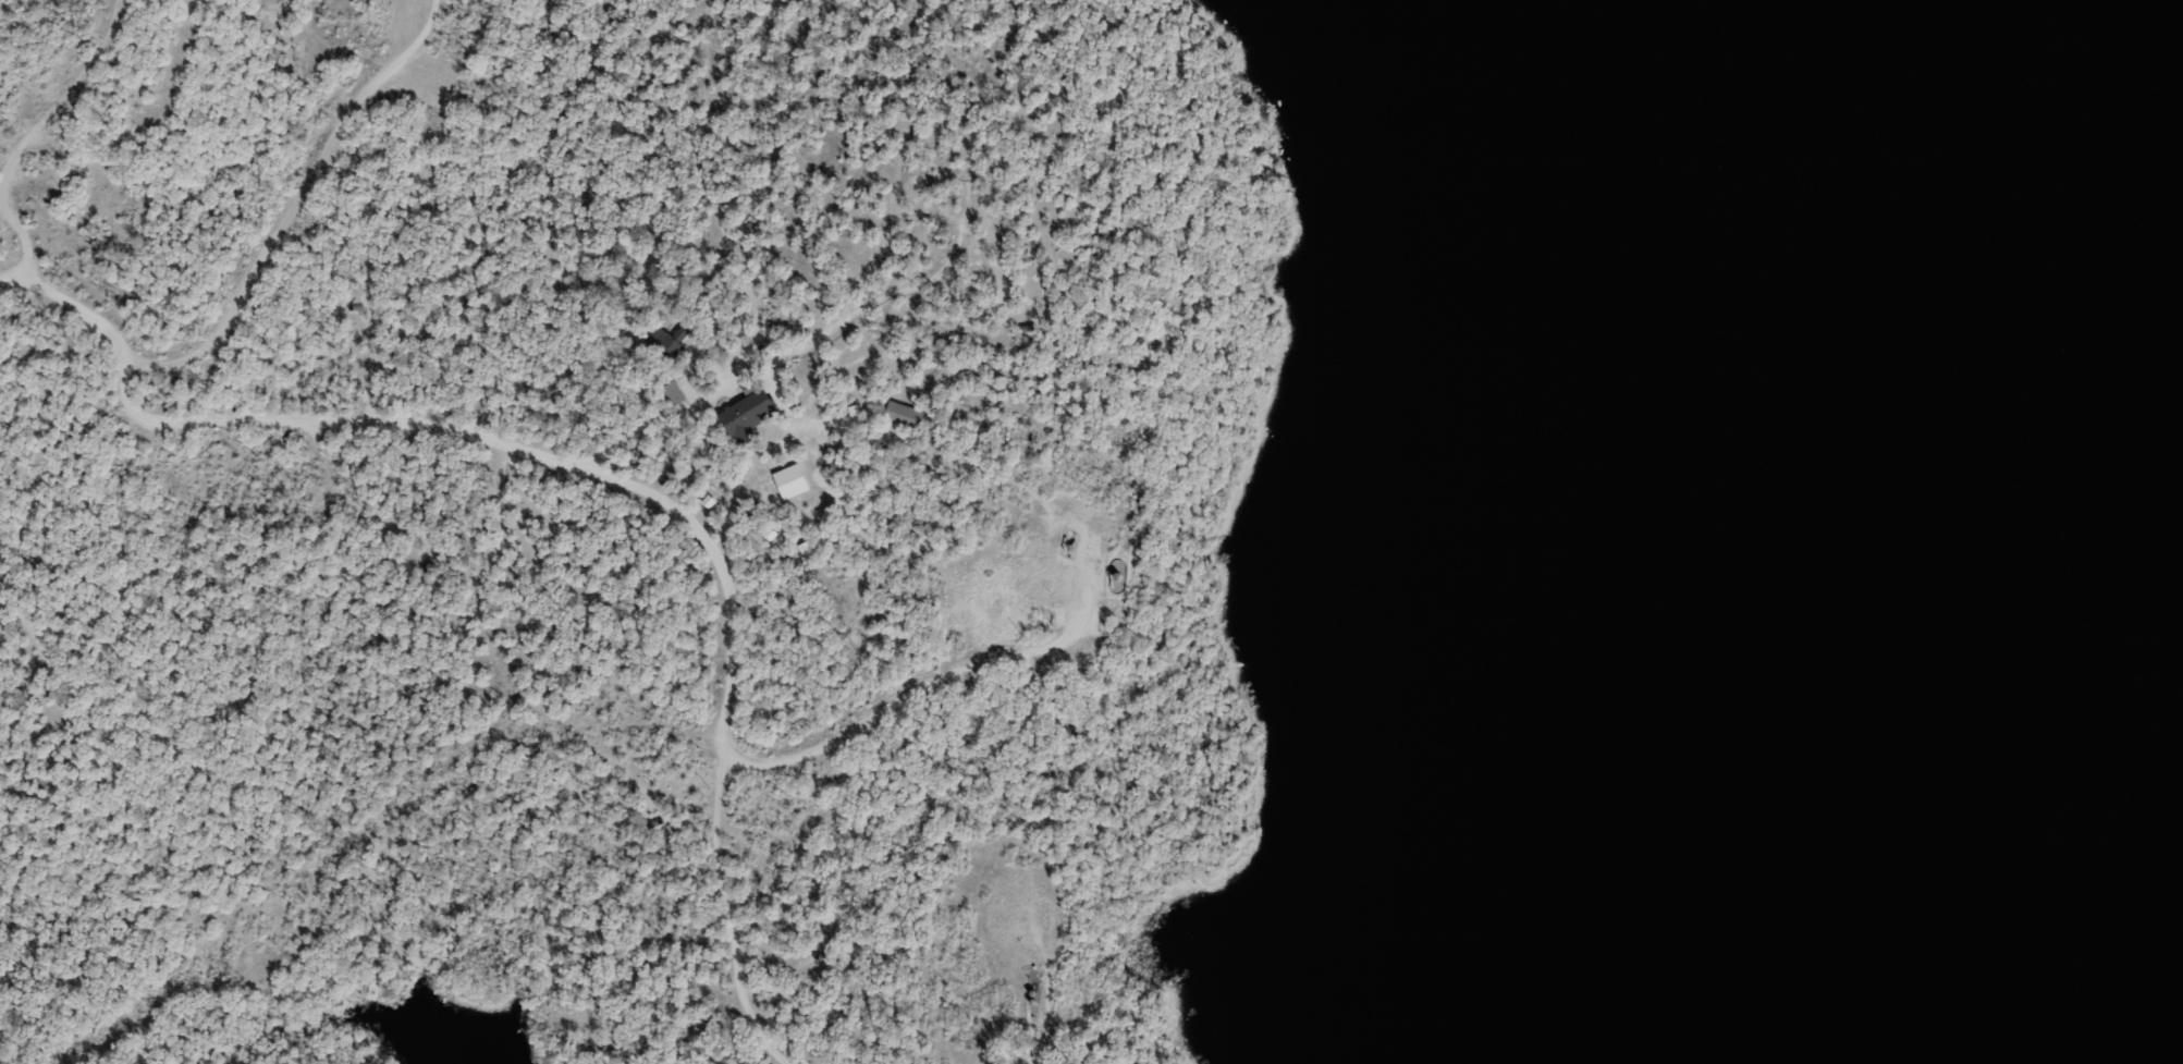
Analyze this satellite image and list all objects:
road: (33, 134)
road: (254, 271)
building: (356, 306)
building: (666, 346)
building: (671, 392)
building: (746, 414)
building: (900, 415)
building: (790, 484)
road: (661, 501)
park: (741, 530)
road: (939, 681)
road: (1050, 1019)

